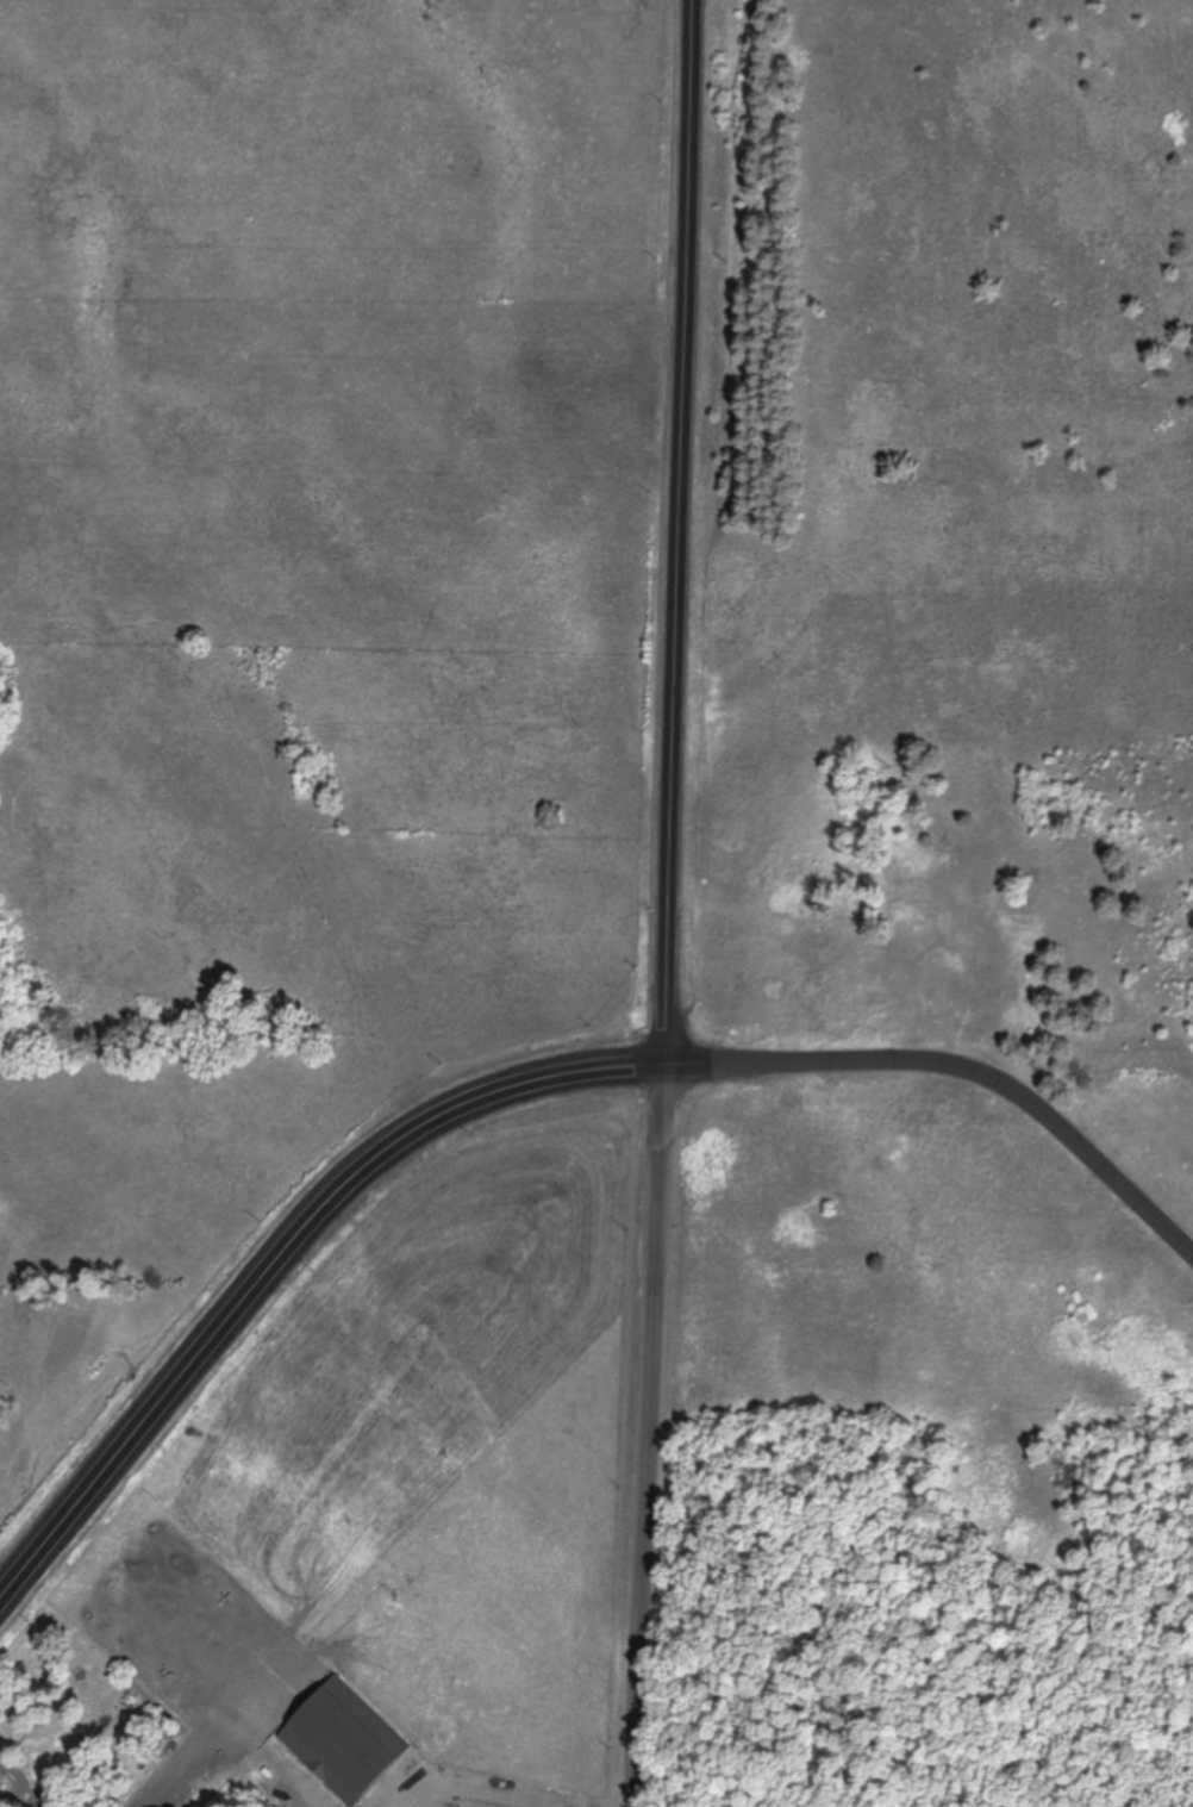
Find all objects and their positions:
road: (673, 534)
park: (929, 921)
road: (960, 1071)
building: (610, 1076)
road: (280, 1259)
road: (642, 1438)
building: (342, 1740)

